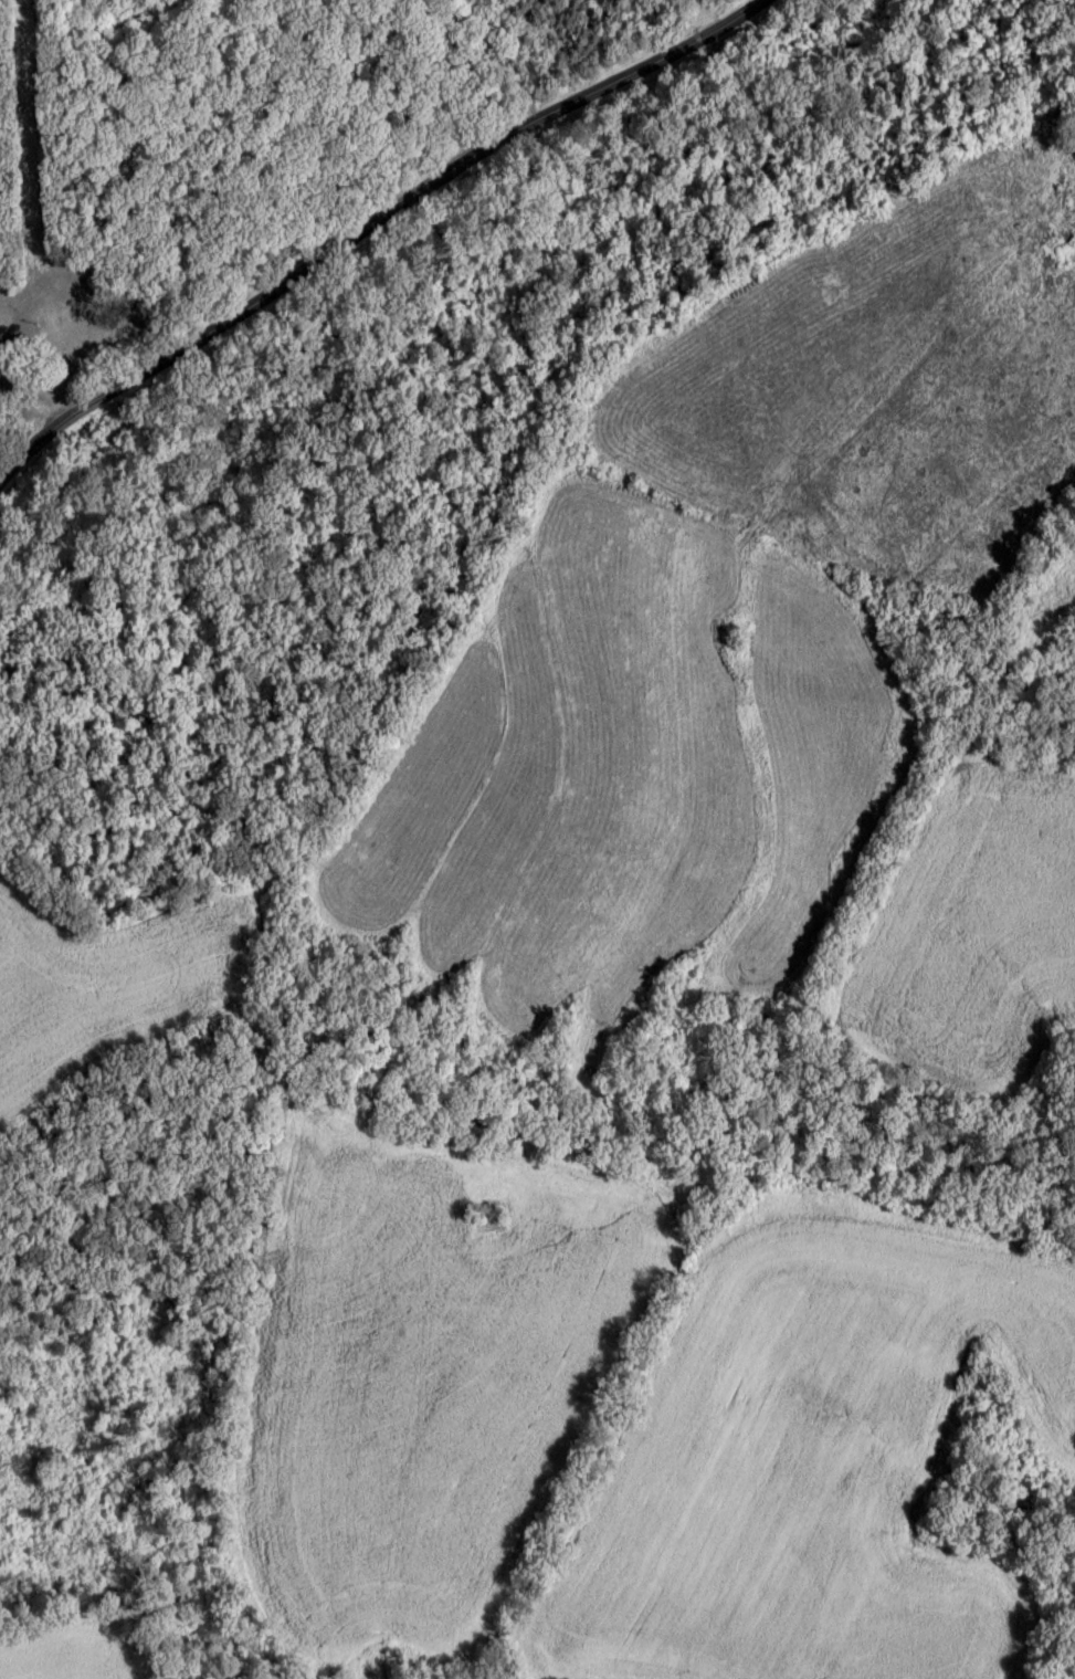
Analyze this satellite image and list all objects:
building: (1056, 116)
road: (301, 262)
road: (957, 432)

